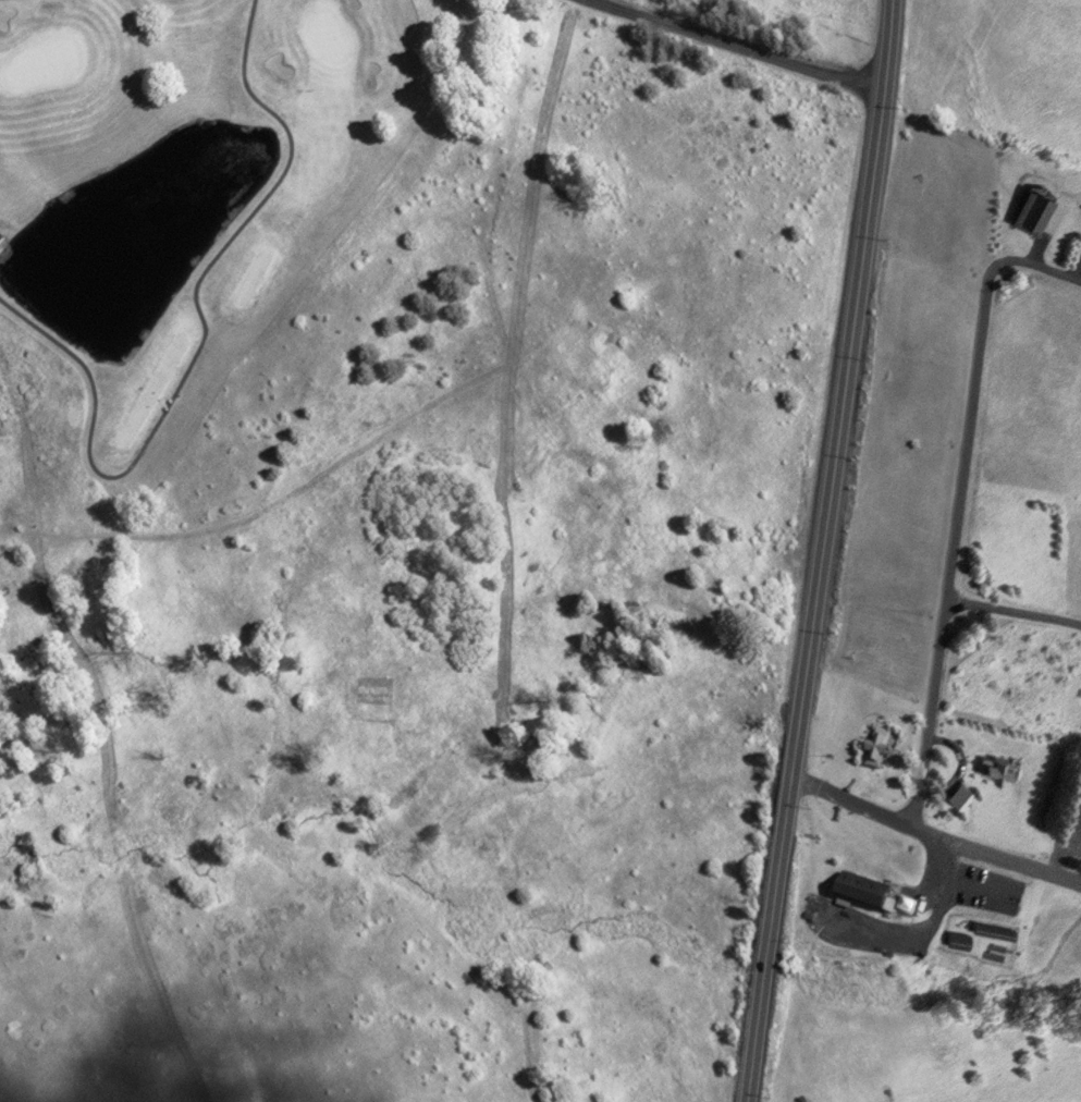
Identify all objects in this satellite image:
road: (736, 44)
park: (191, 188)
building: (1031, 212)
road: (199, 342)
road: (980, 385)
road: (818, 551)
road: (1014, 613)
road: (929, 711)
building: (873, 746)
building: (988, 767)
building: (958, 797)
building: (1068, 810)
road: (934, 833)
building: (859, 887)
building: (957, 941)

